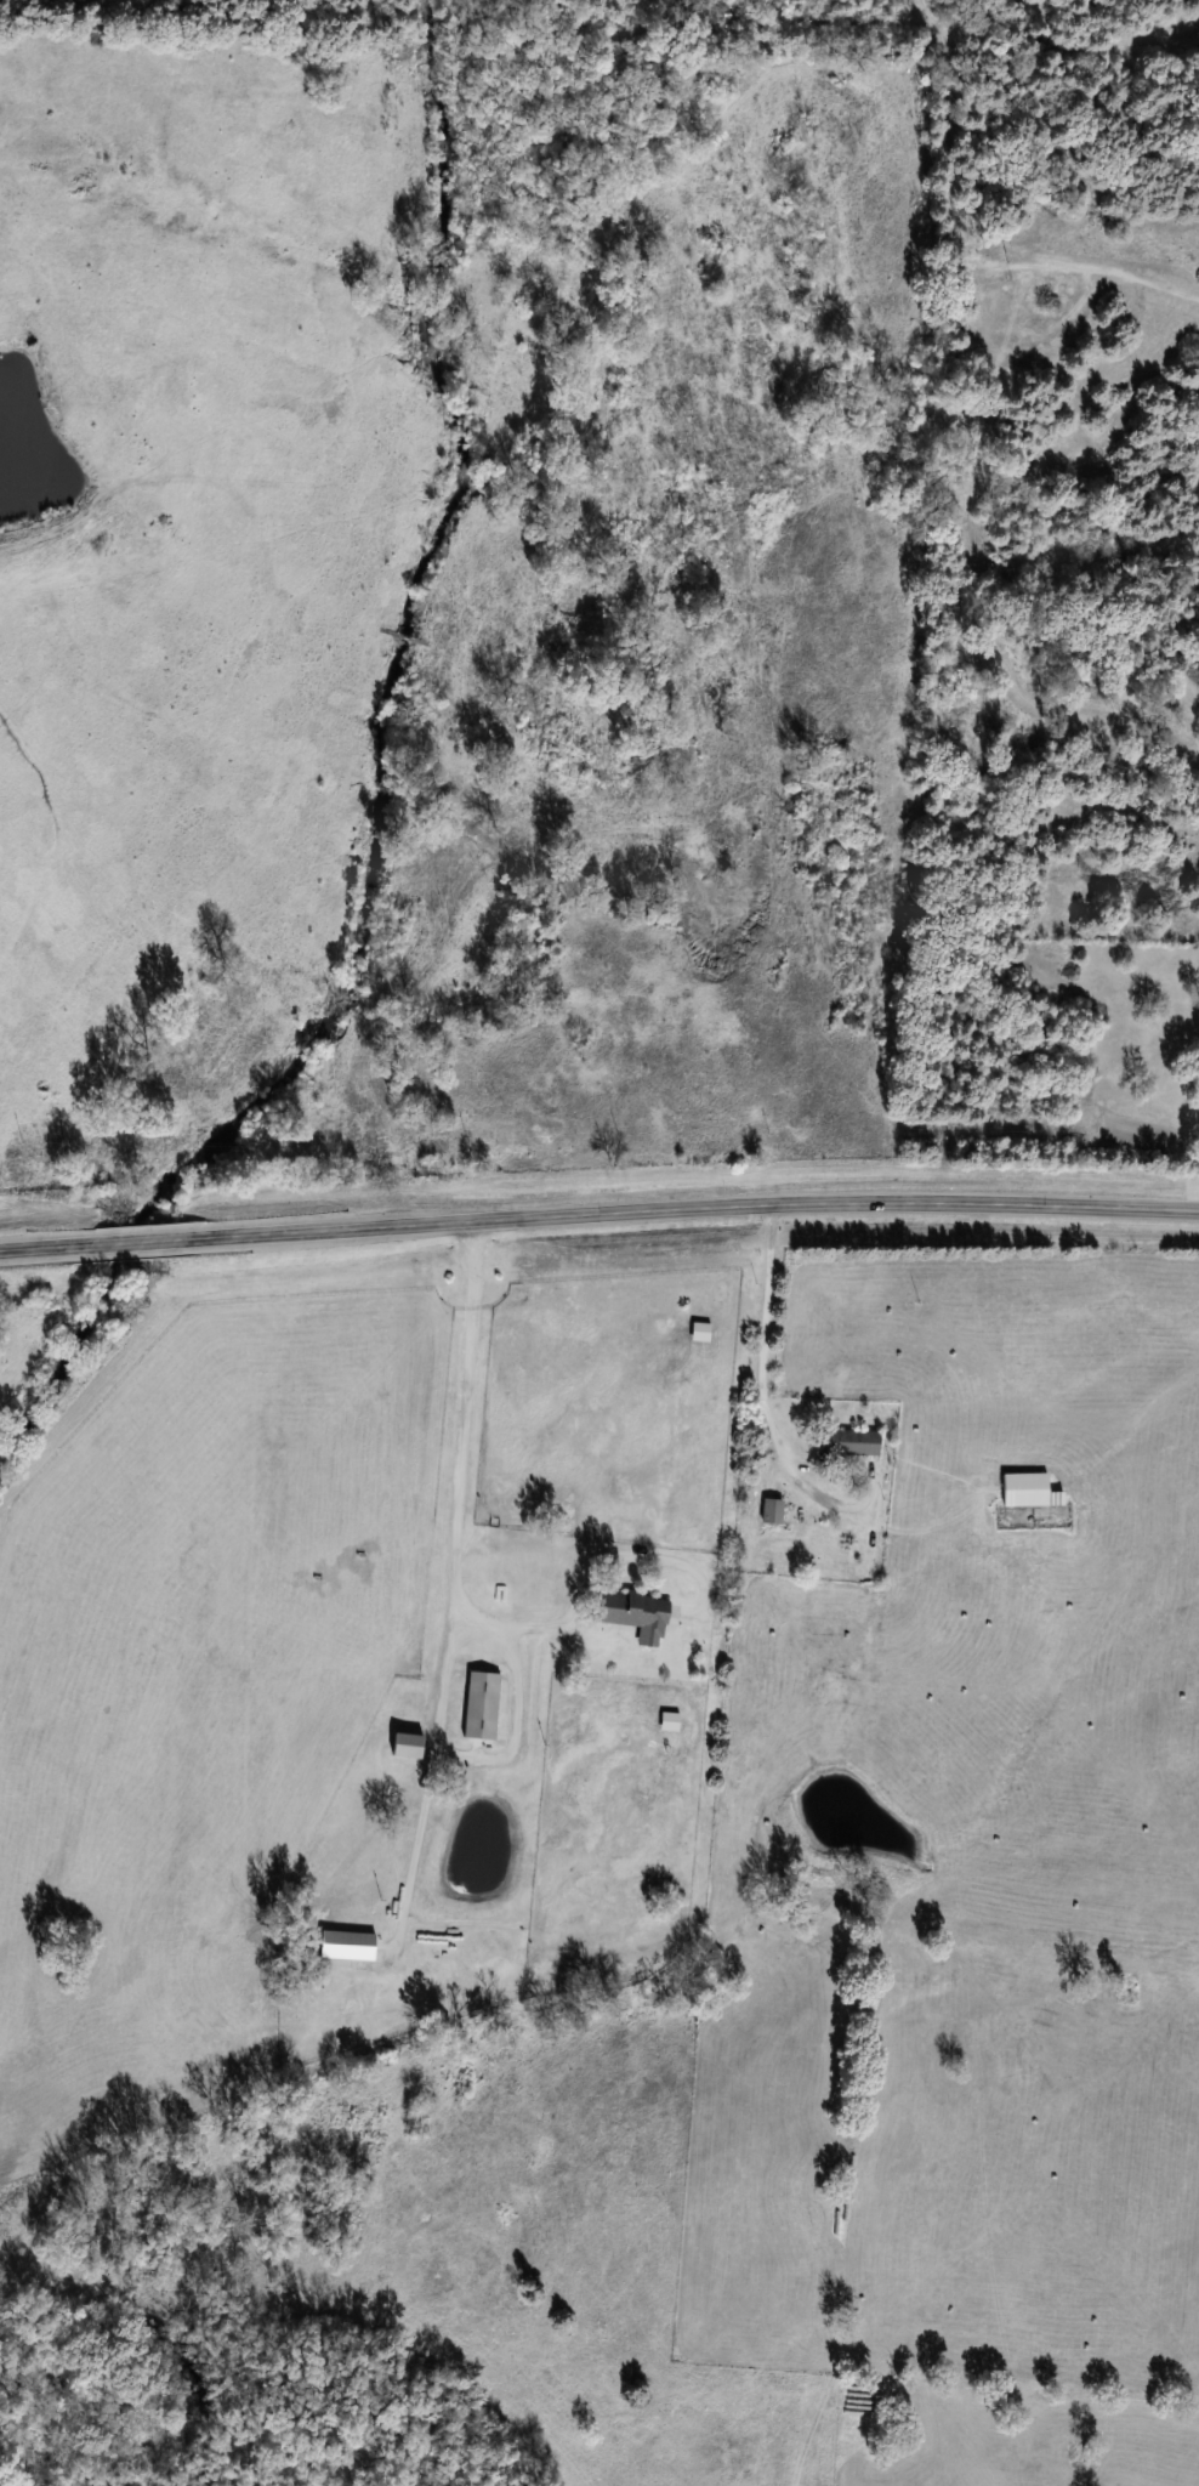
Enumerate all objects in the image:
road: (598, 1211)
road: (761, 1360)
road: (460, 1438)
building: (851, 1442)
building: (1028, 1491)
building: (771, 1511)
building: (632, 1614)
building: (479, 1705)
building: (405, 1746)
building: (345, 1946)
road: (801, 2433)

